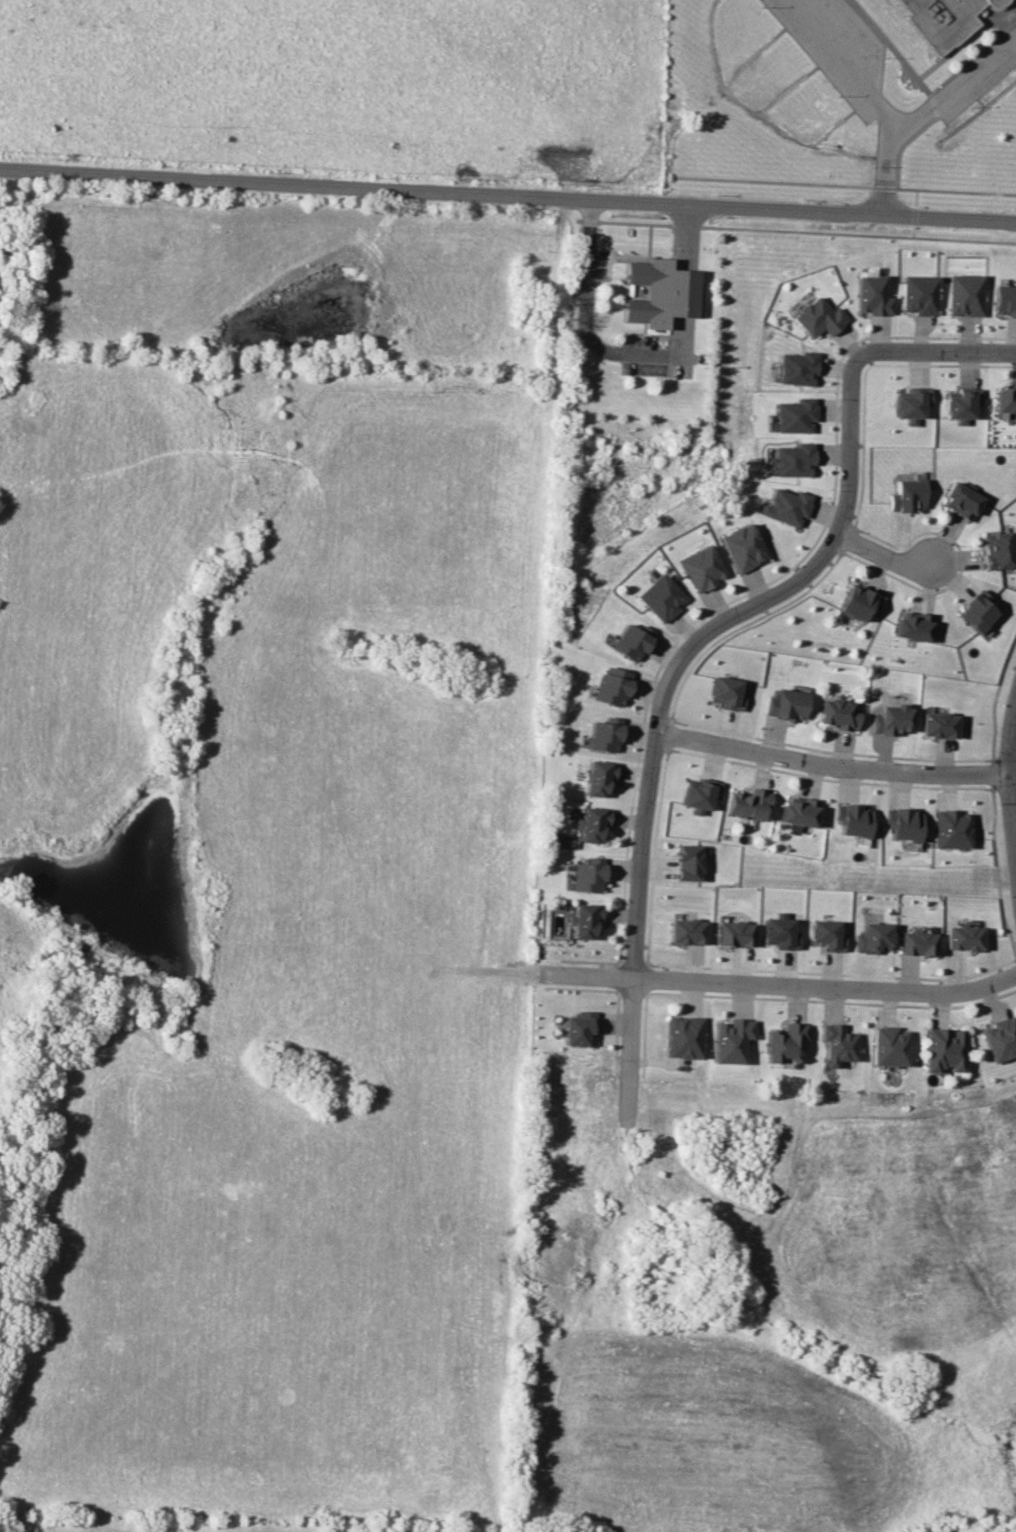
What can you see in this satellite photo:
building: (942, 20)
road: (842, 61)
road: (955, 86)
road: (887, 170)
road: (508, 195)
road: (685, 234)
building: (661, 292)
building: (918, 294)
building: (964, 294)
building: (872, 295)
building: (1004, 300)
building: (818, 317)
road: (588, 333)
building: (797, 368)
building: (1006, 400)
building: (912, 403)
building: (962, 404)
building: (794, 415)
building: (792, 460)
building: (908, 495)
building: (961, 501)
building: (785, 506)
building: (743, 547)
building: (998, 550)
road: (882, 556)
building: (701, 567)
building: (660, 598)
building: (859, 602)
building: (978, 611)
building: (913, 626)
road: (704, 634)
building: (630, 641)
building: (611, 686)
building: (725, 692)
building: (786, 704)
building: (837, 714)
building: (892, 719)
building: (939, 725)
building: (603, 734)
road: (834, 765)
road: (1013, 776)
building: (598, 778)
building: (699, 794)
building: (748, 804)
building: (798, 811)
building: (852, 819)
building: (904, 823)
building: (592, 824)
building: (952, 829)
building: (688, 862)
building: (588, 875)
building: (585, 920)
building: (688, 931)
building: (780, 932)
building: (735, 933)
building: (826, 934)
building: (873, 937)
building: (965, 937)
building: (918, 943)
road: (779, 983)
building: (580, 1028)
building: (683, 1036)
building: (1001, 1038)
building: (730, 1040)
building: (784, 1041)
building: (837, 1045)
building: (889, 1046)
building: (944, 1049)

